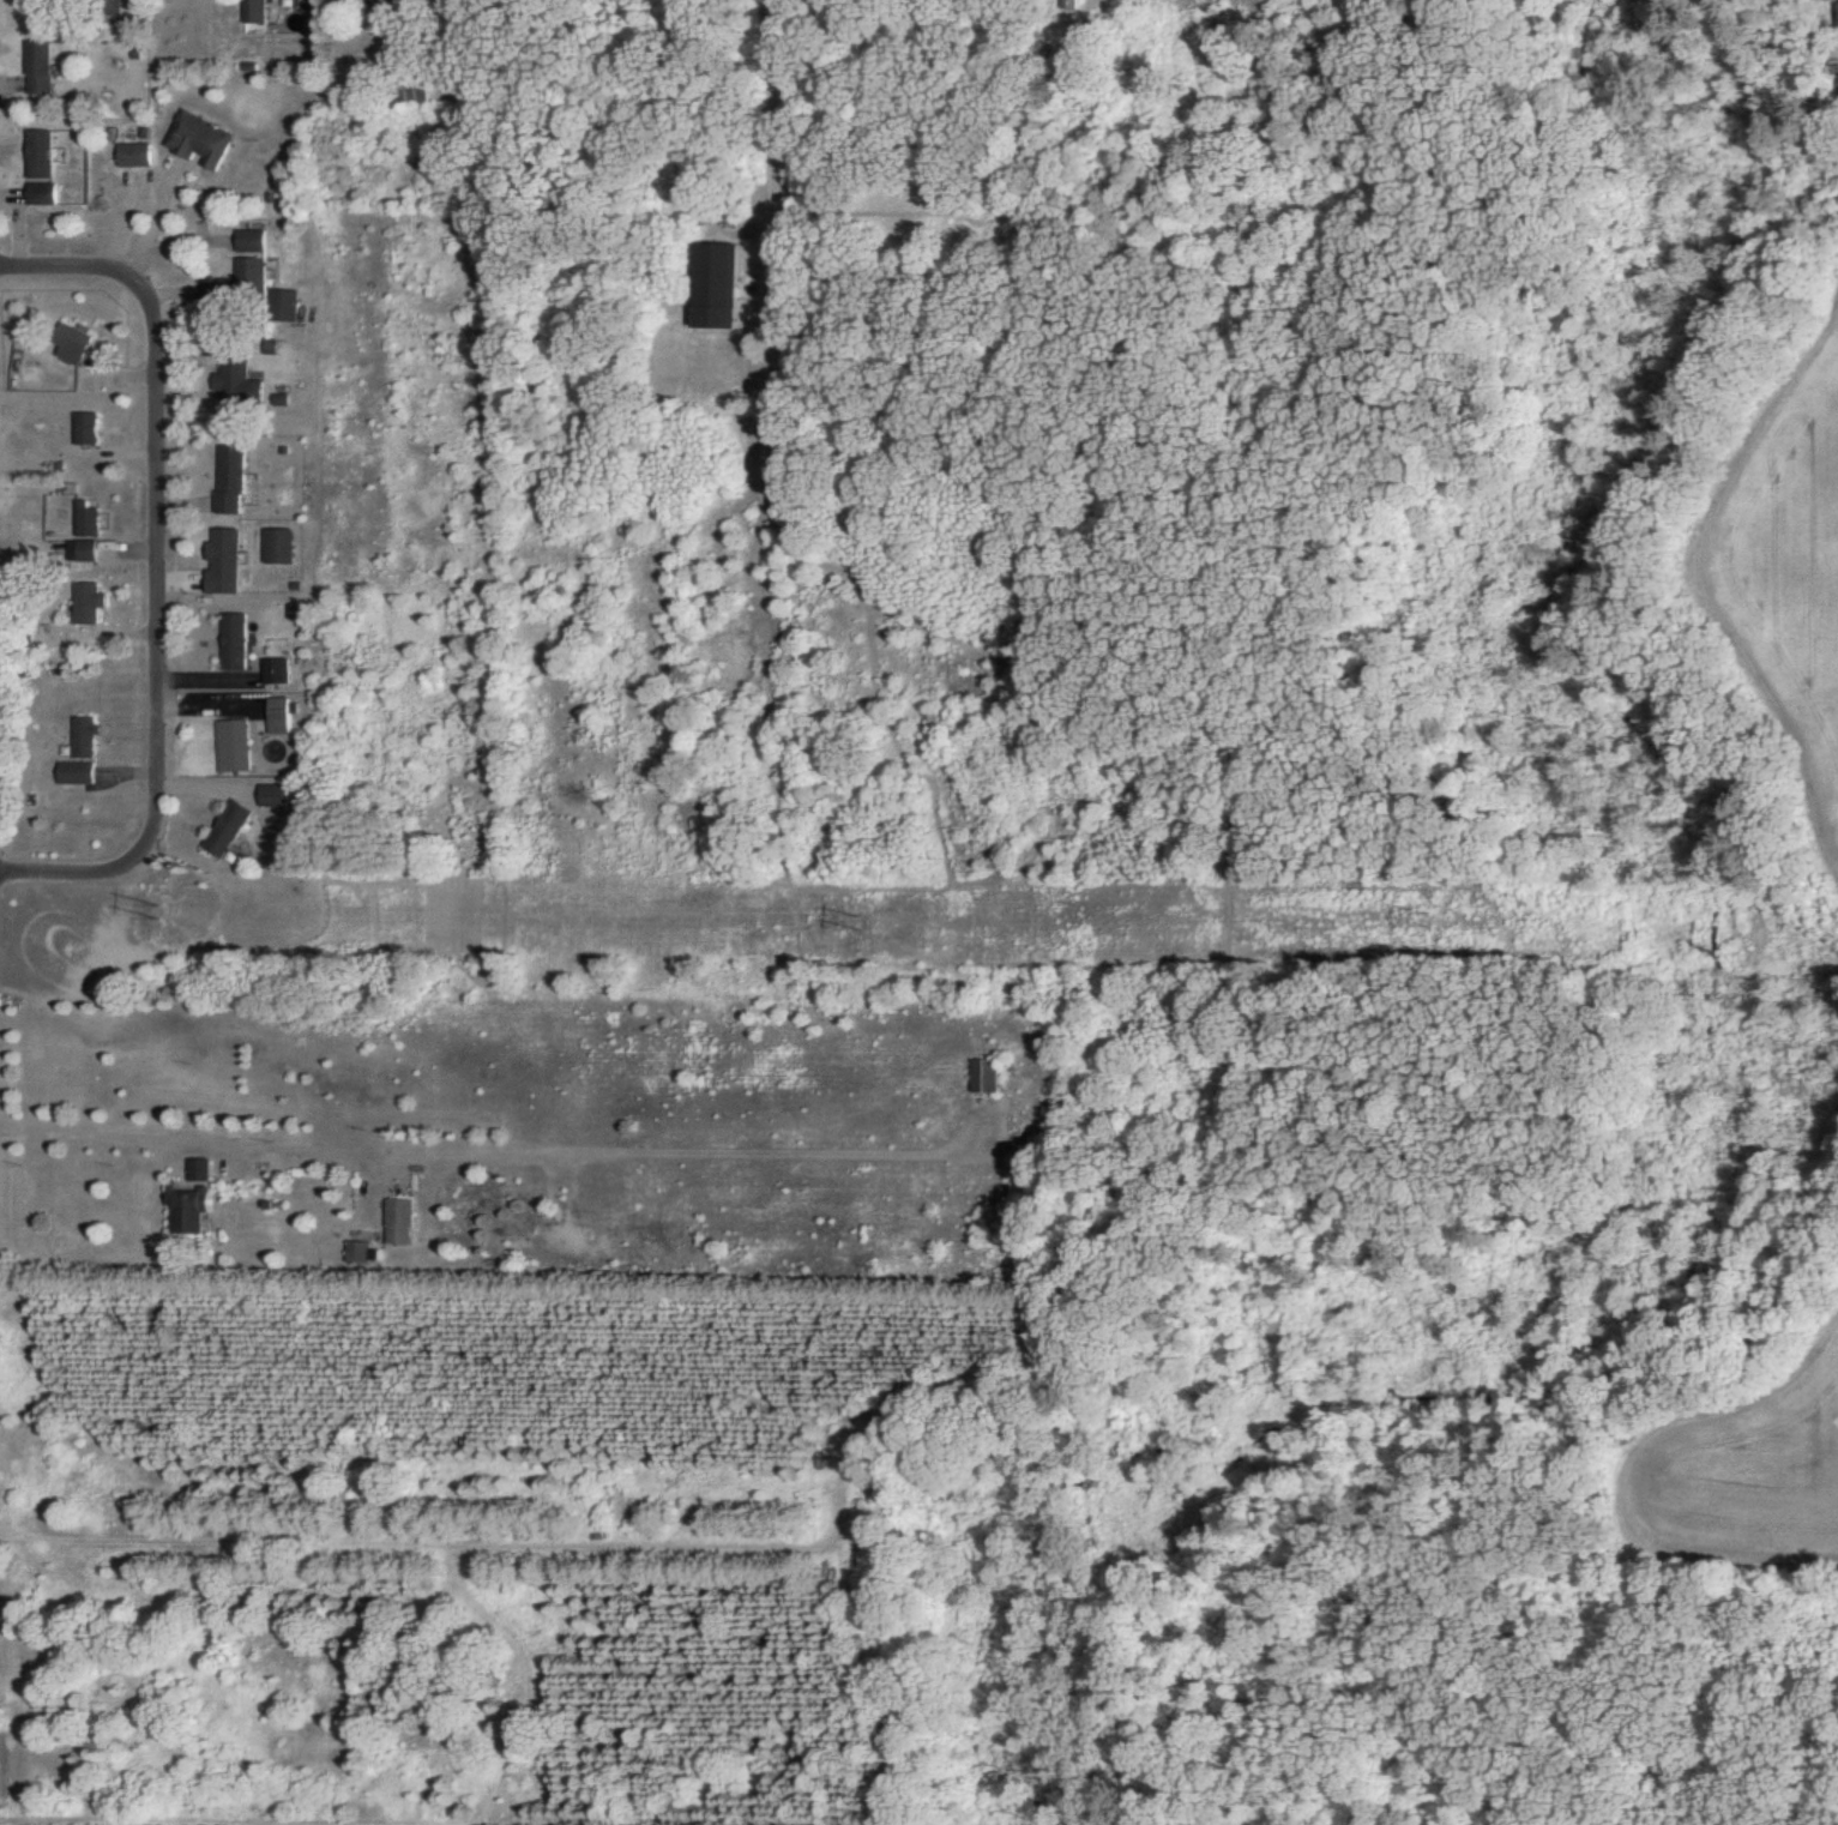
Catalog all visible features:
building: (40, 67)
building: (198, 139)
road: (770, 147)
building: (40, 153)
building: (133, 155)
building: (42, 194)
road: (151, 225)
building: (251, 241)
building: (246, 275)
building: (715, 285)
building: (289, 306)
building: (70, 344)
building: (237, 384)
building: (83, 428)
building: (230, 480)
building: (83, 518)
building: (279, 547)
building: (78, 550)
building: (223, 562)
road: (155, 576)
building: (84, 603)
building: (234, 642)
building: (276, 671)
building: (279, 715)
building: (82, 737)
building: (234, 746)
building: (74, 773)
building: (275, 795)
building: (228, 829)
power tower: (170, 912)
power tower: (862, 924)
power tower: (1429, 930)
building: (986, 1076)
road: (97, 1131)
building: (201, 1170)
building: (192, 1210)
building: (399, 1221)
building: (361, 1253)

